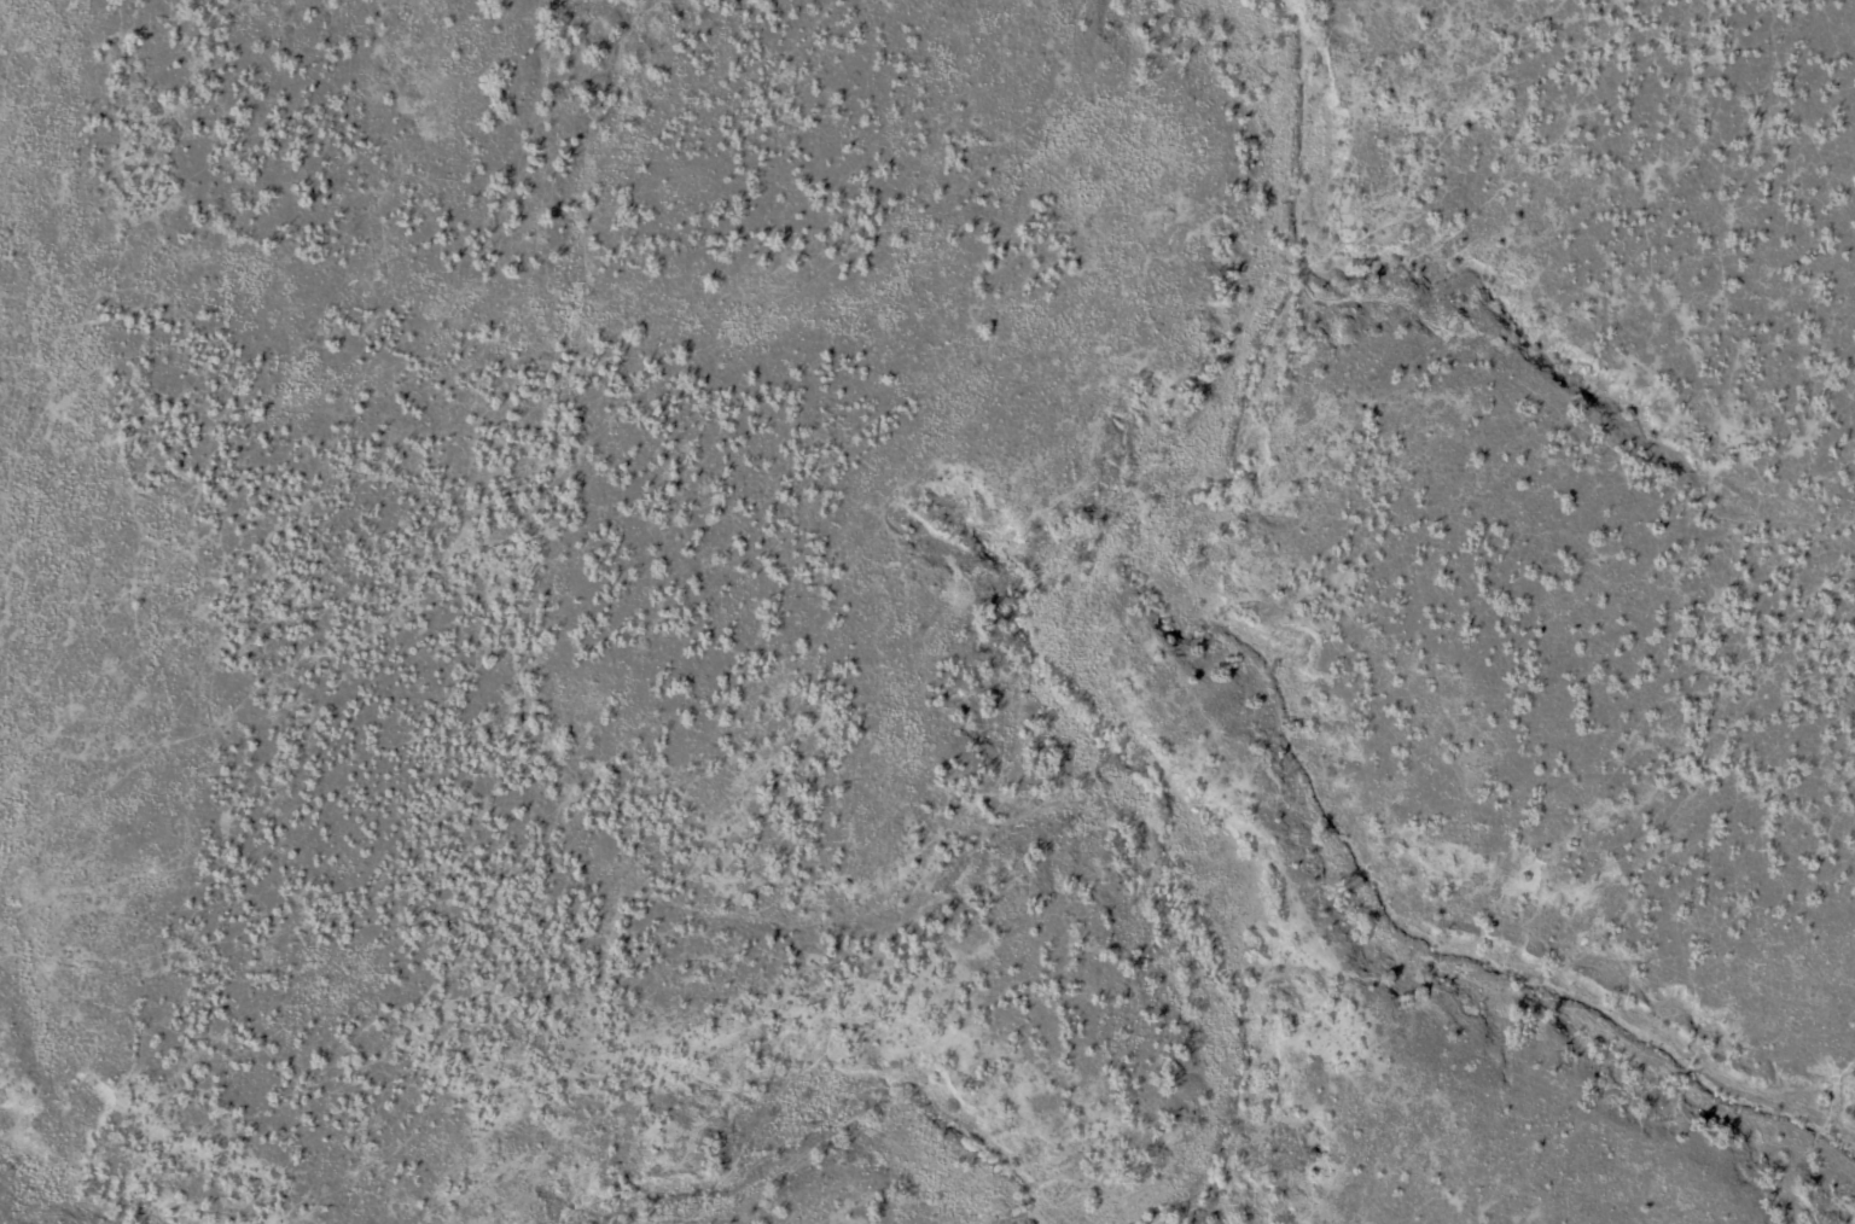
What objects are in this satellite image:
road: (1, 601)

